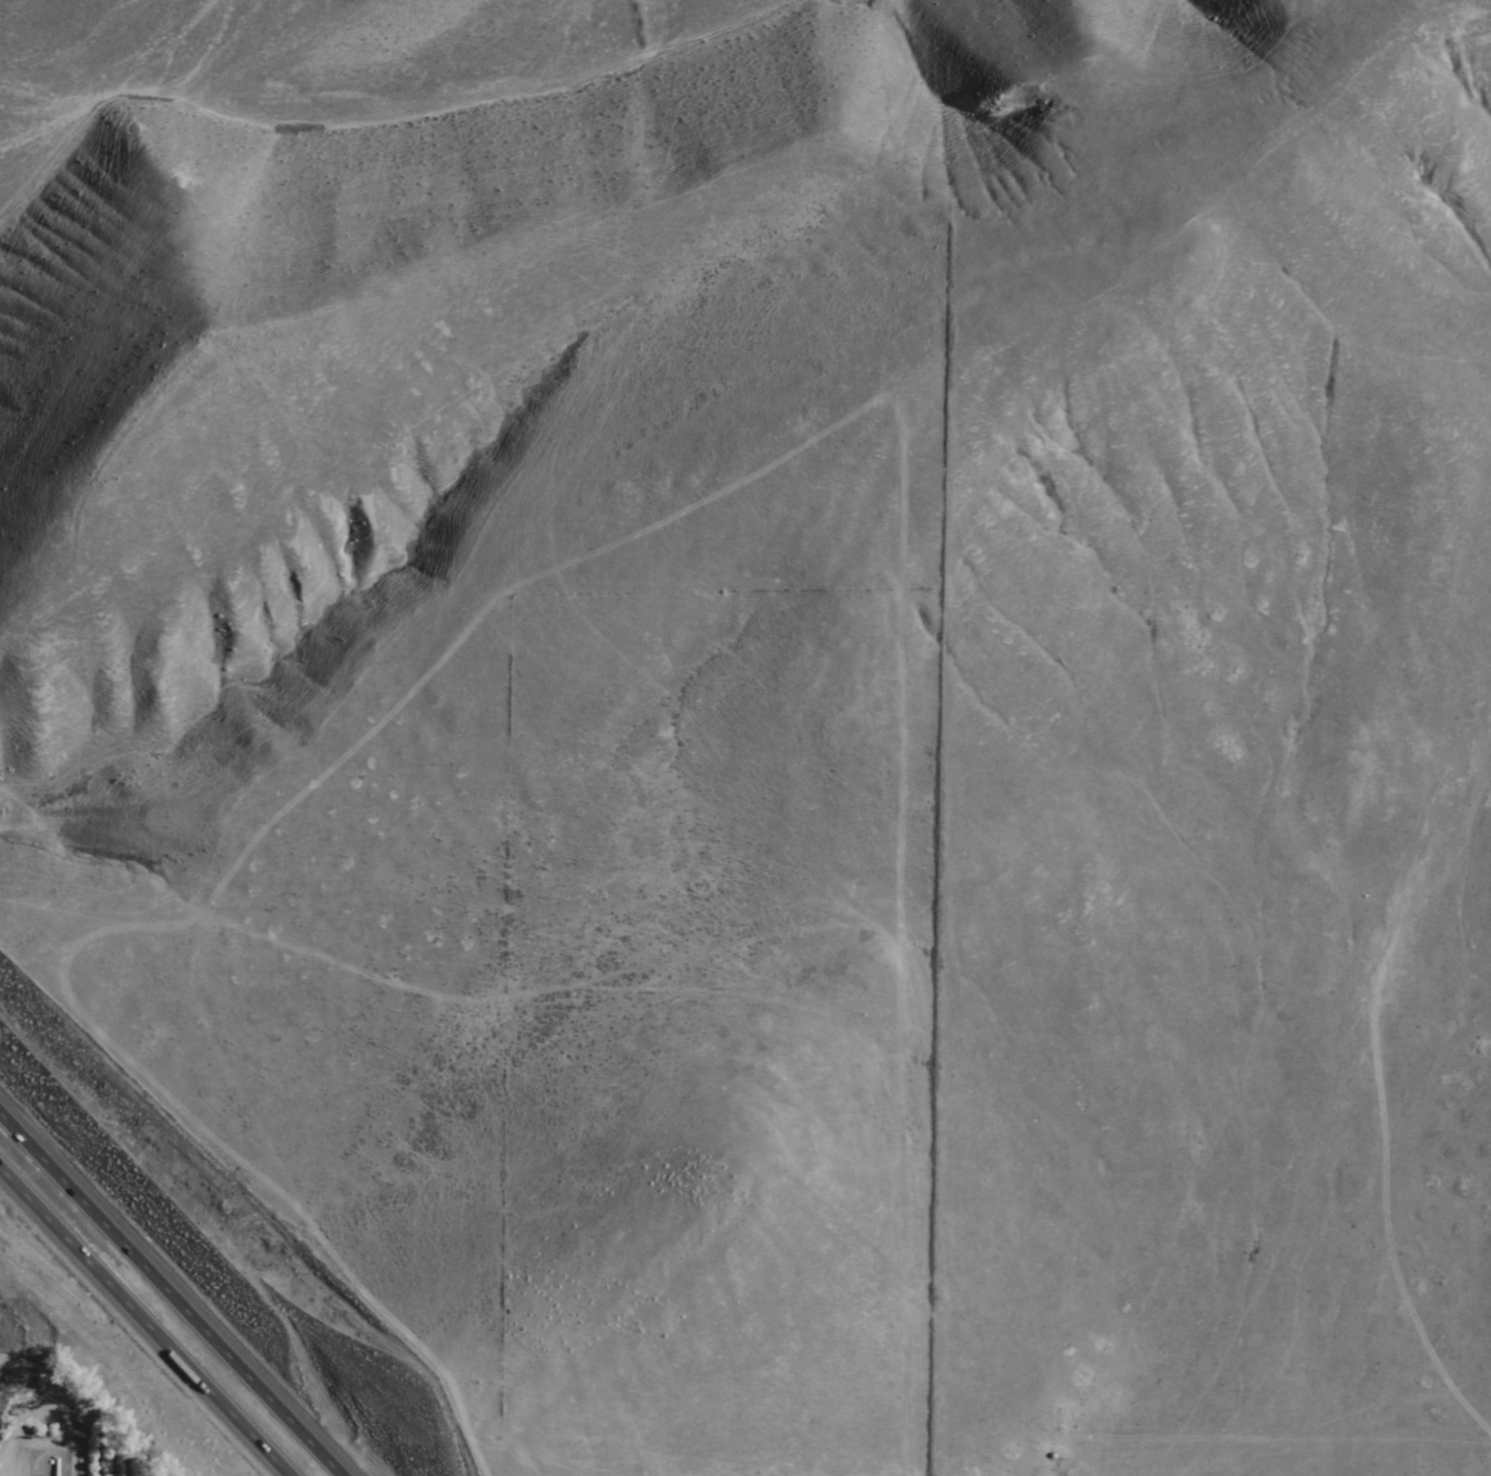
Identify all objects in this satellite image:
road: (174, 1291)
road: (141, 1325)
crop: (57, 1463)

